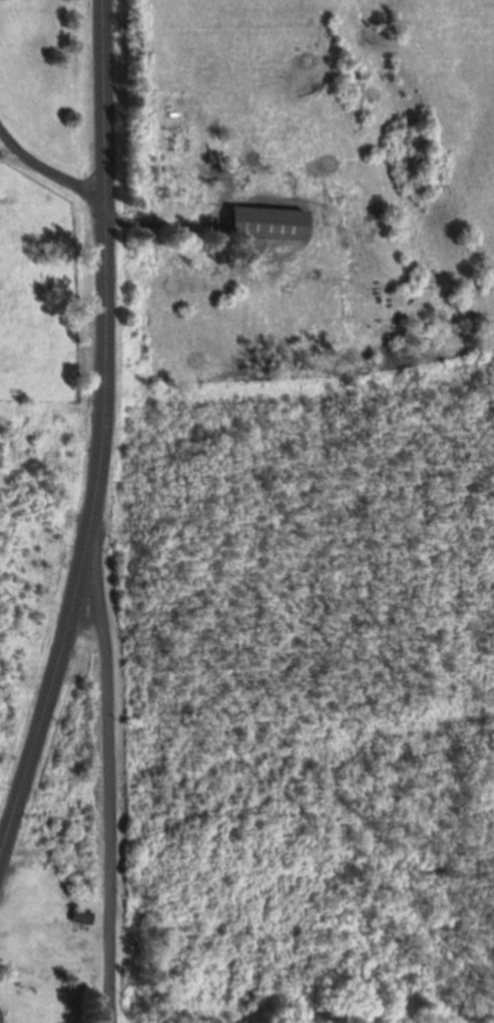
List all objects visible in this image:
building: (6, 0)
crop: (297, 178)
building: (270, 225)
road: (107, 280)
crop: (48, 297)
road: (44, 711)
road: (111, 789)
building: (84, 920)
road: (1, 1017)

